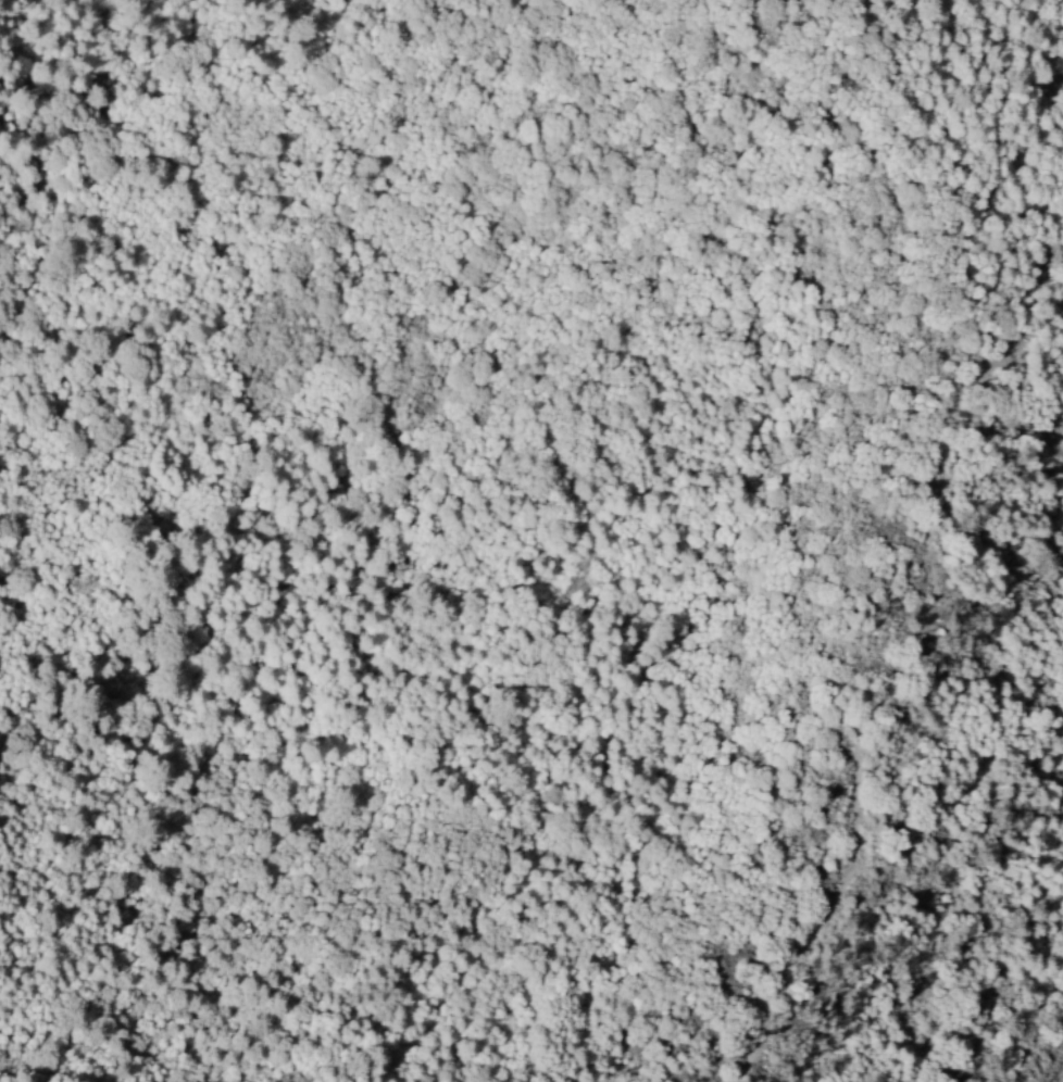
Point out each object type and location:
road: (20, 140)

